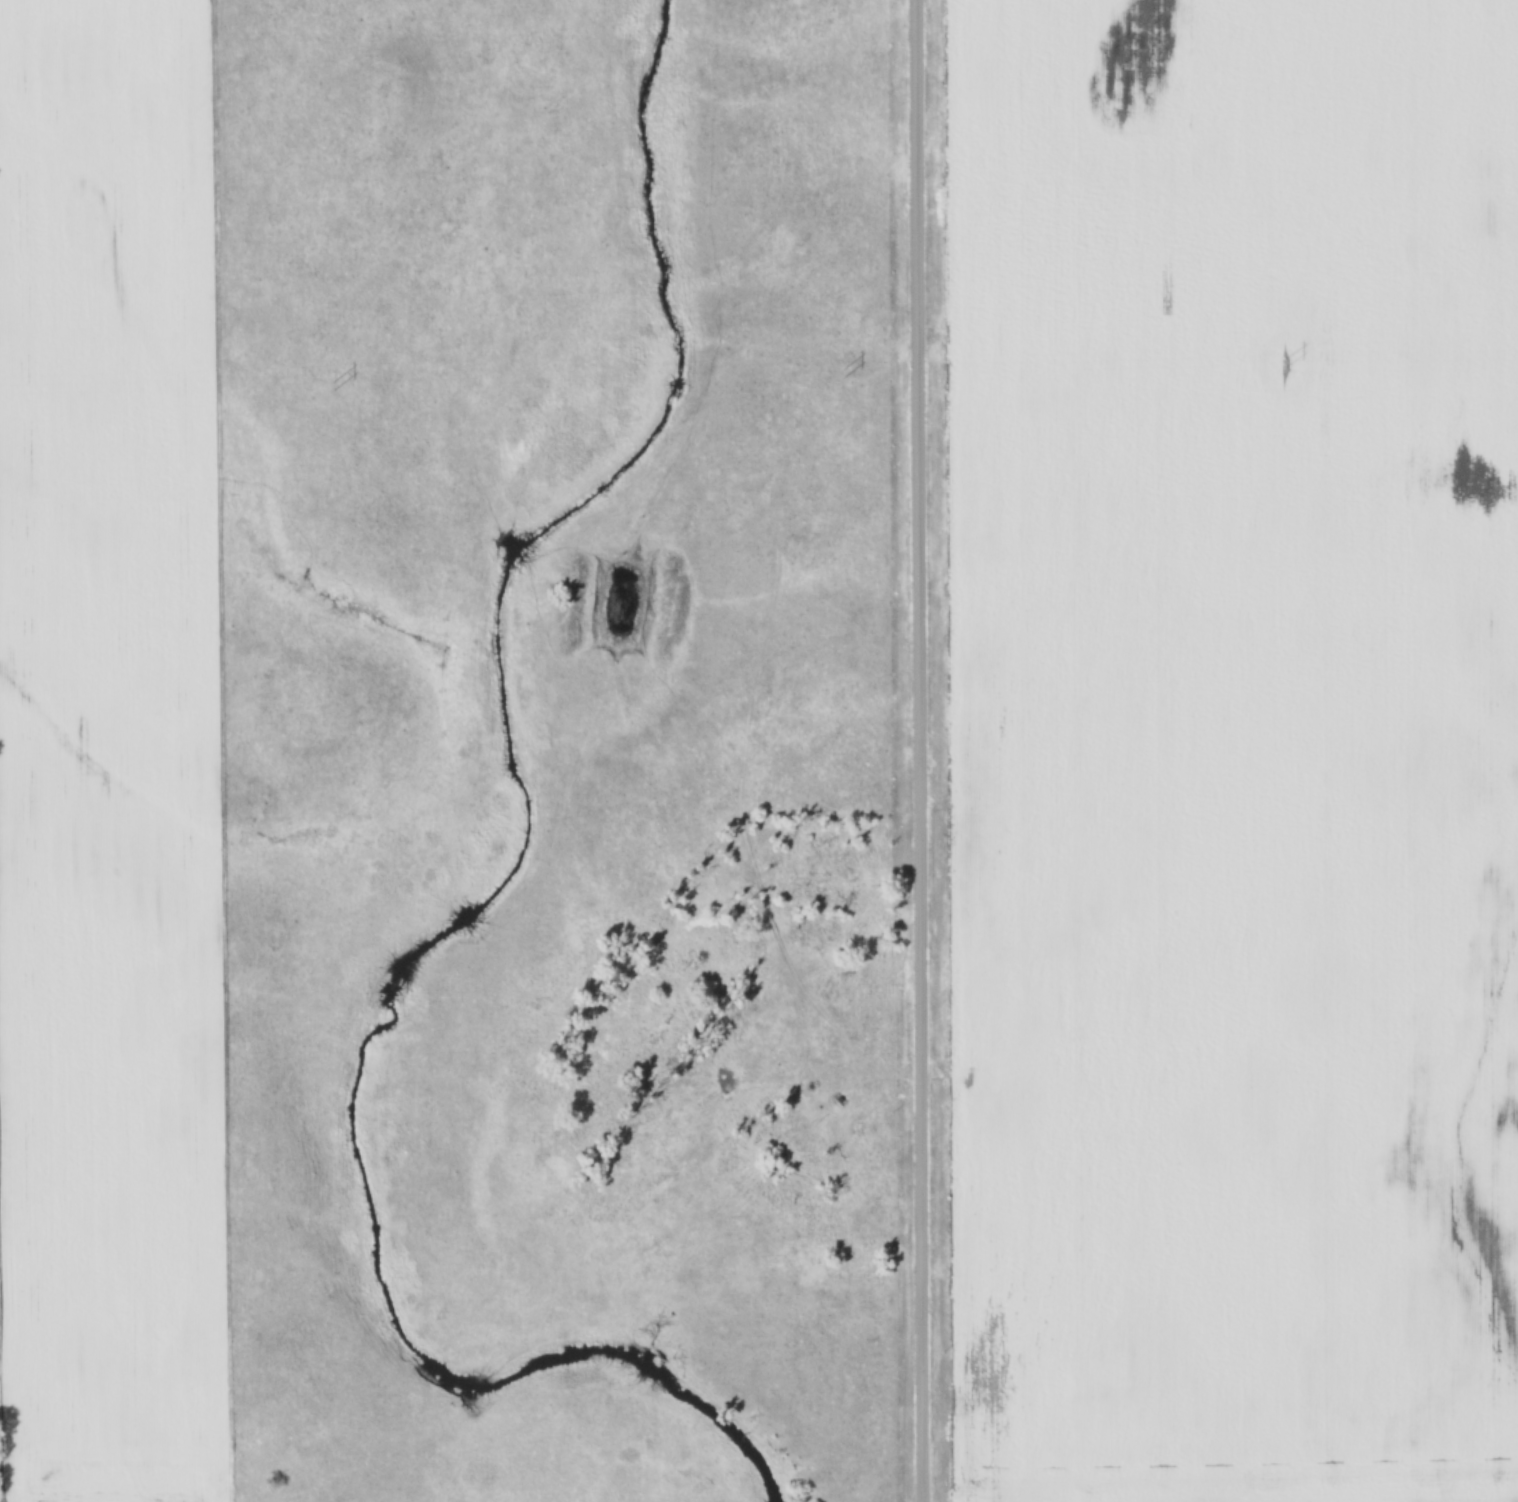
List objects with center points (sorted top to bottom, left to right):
power tower: (1283, 364)
power tower: (841, 374)
power tower: (332, 386)
road: (919, 751)

